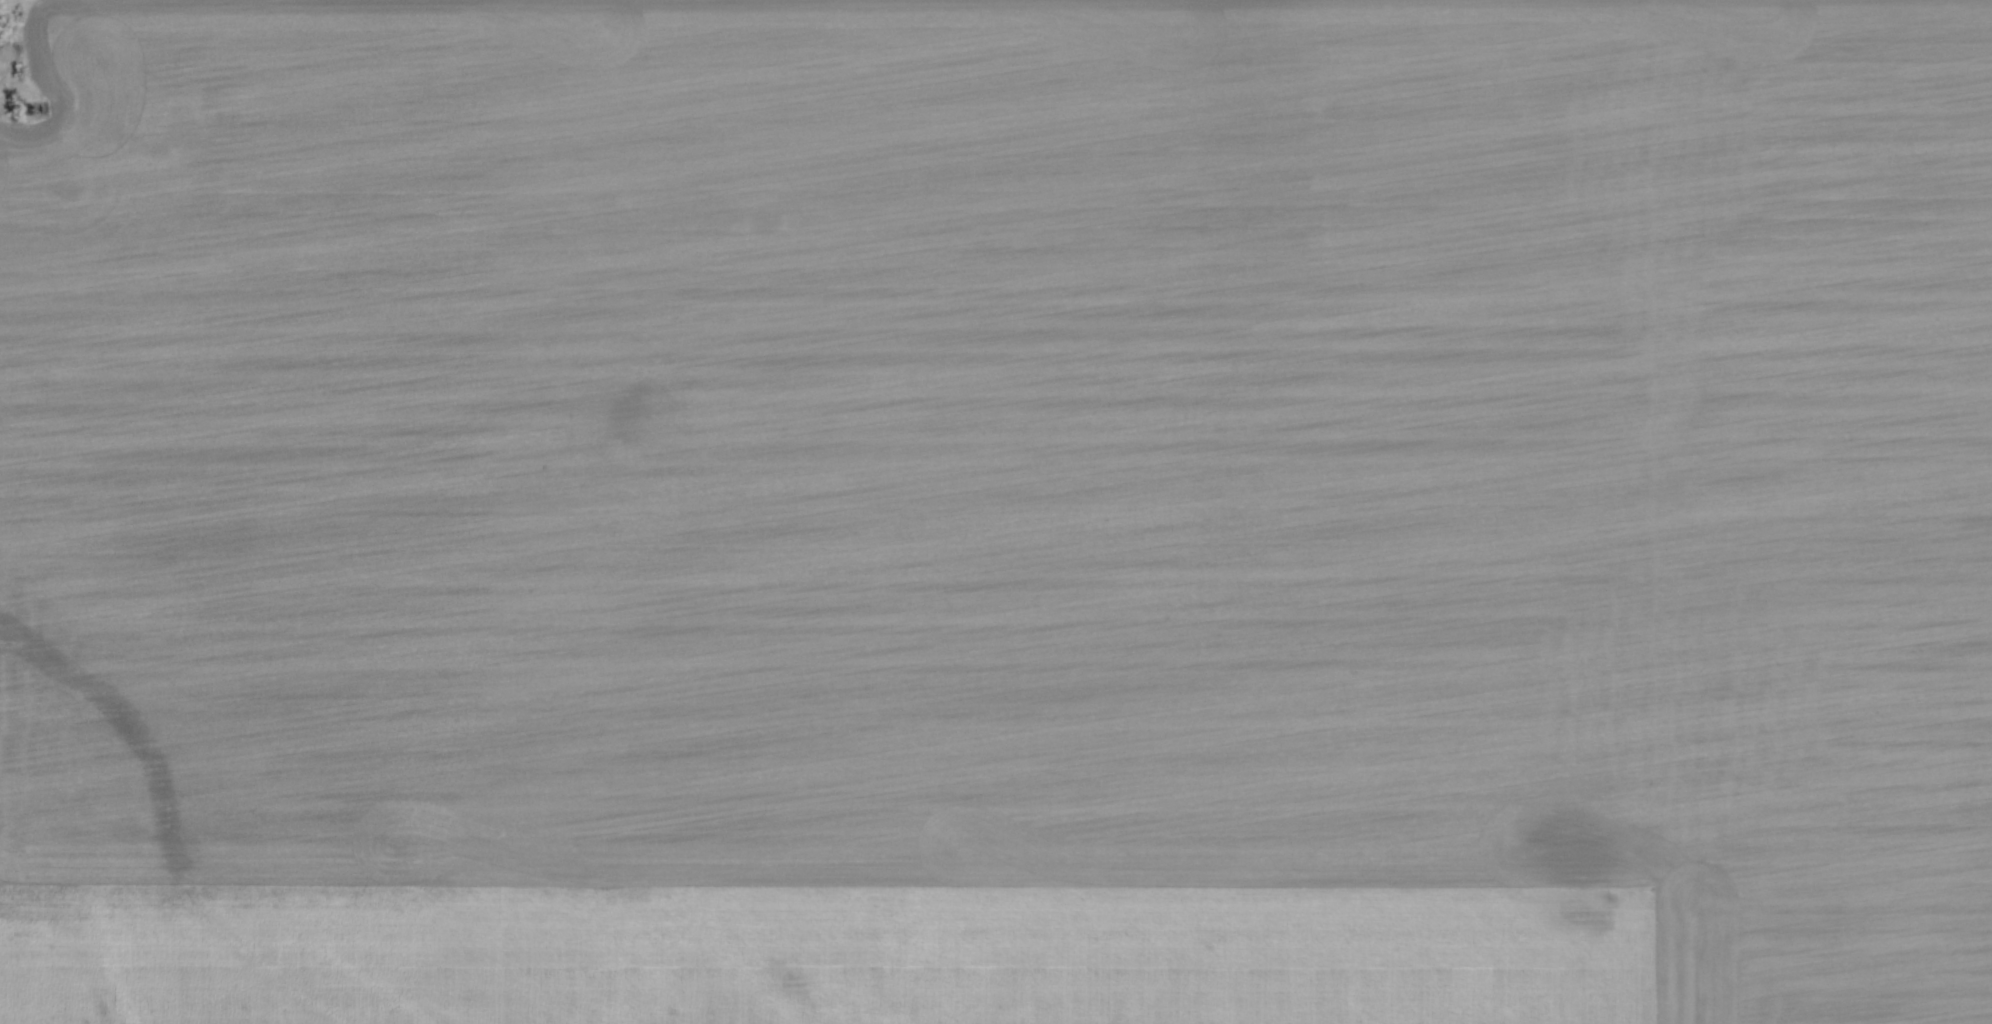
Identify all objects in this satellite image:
crop: (998, 513)

